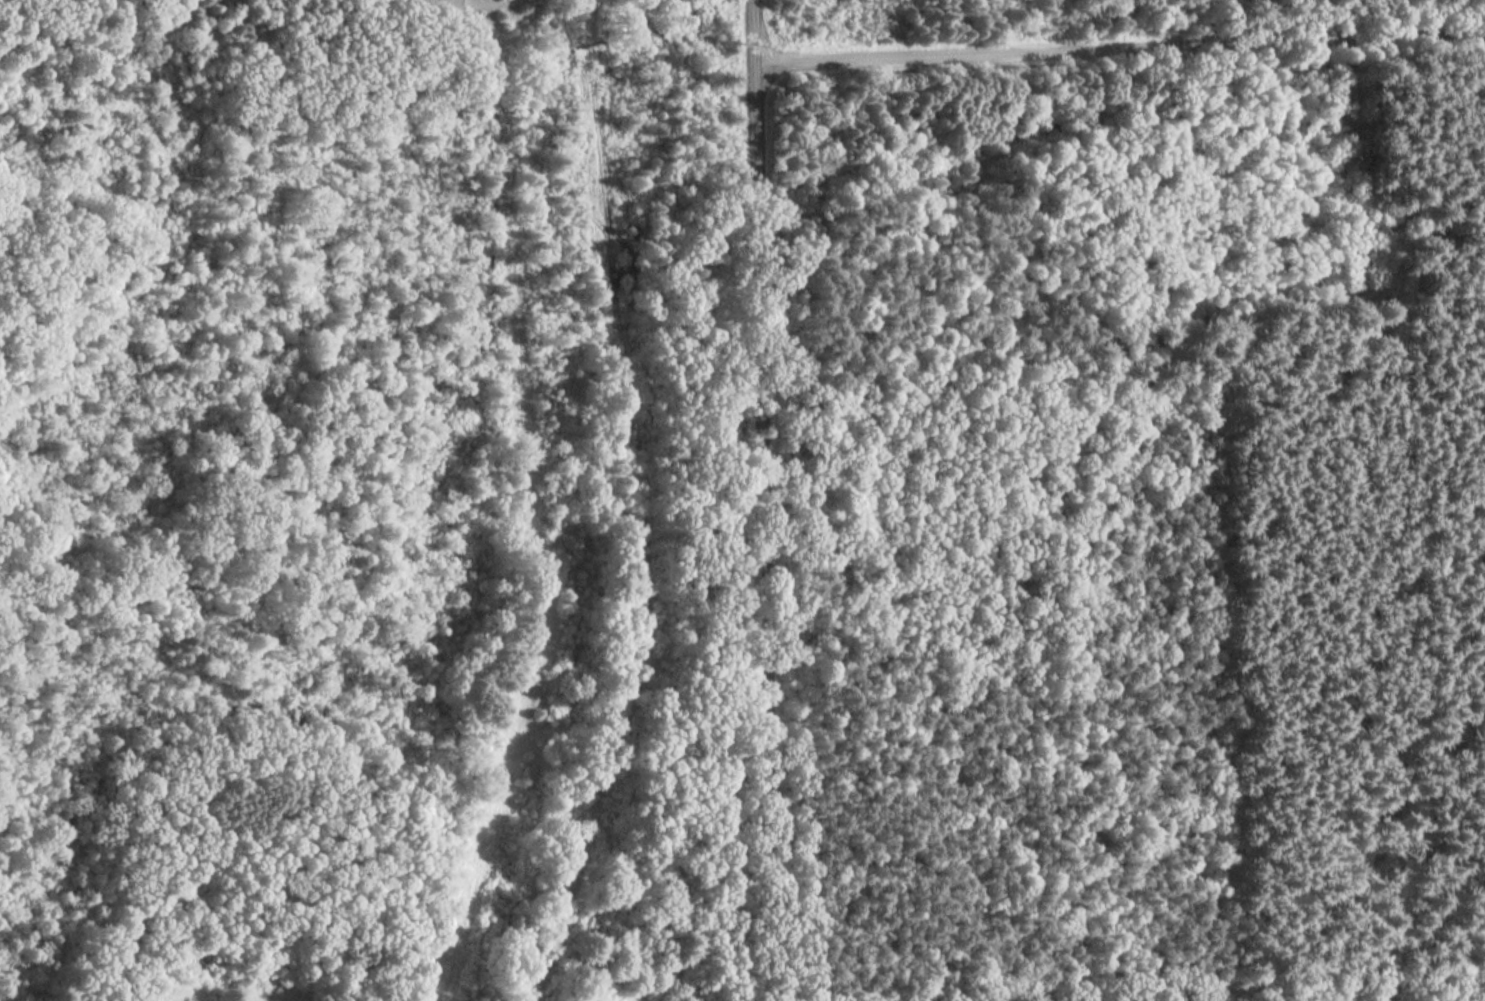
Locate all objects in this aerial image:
road: (1120, 45)
road: (1415, 188)
road: (786, 304)
road: (1392, 492)
road: (763, 500)
park: (375, 541)
road: (1129, 970)

